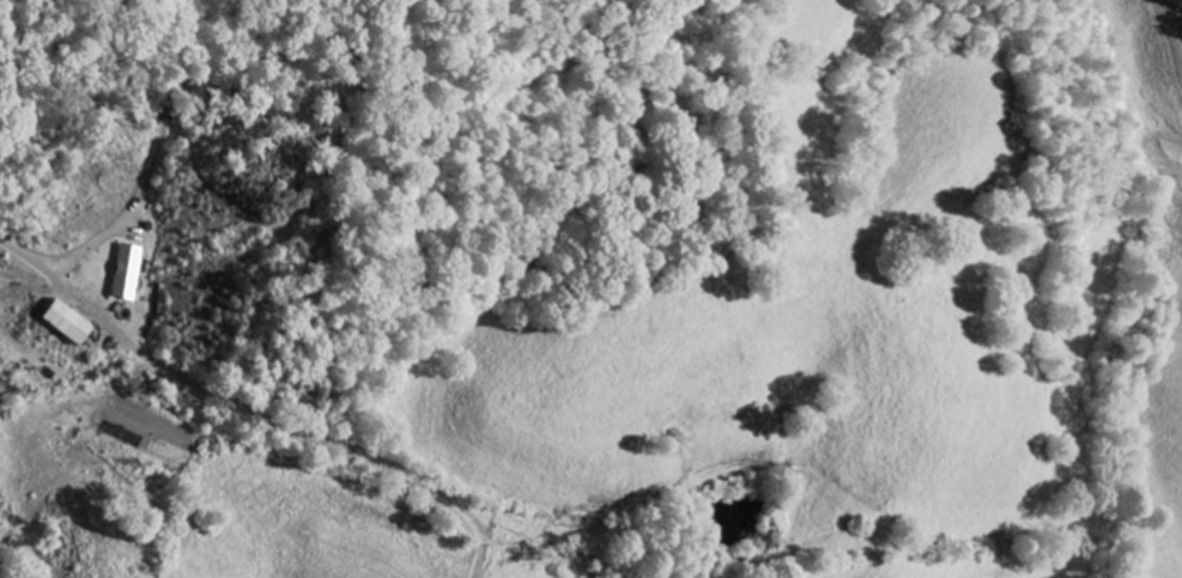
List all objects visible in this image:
building: (126, 272)
building: (62, 323)
road: (253, 414)

